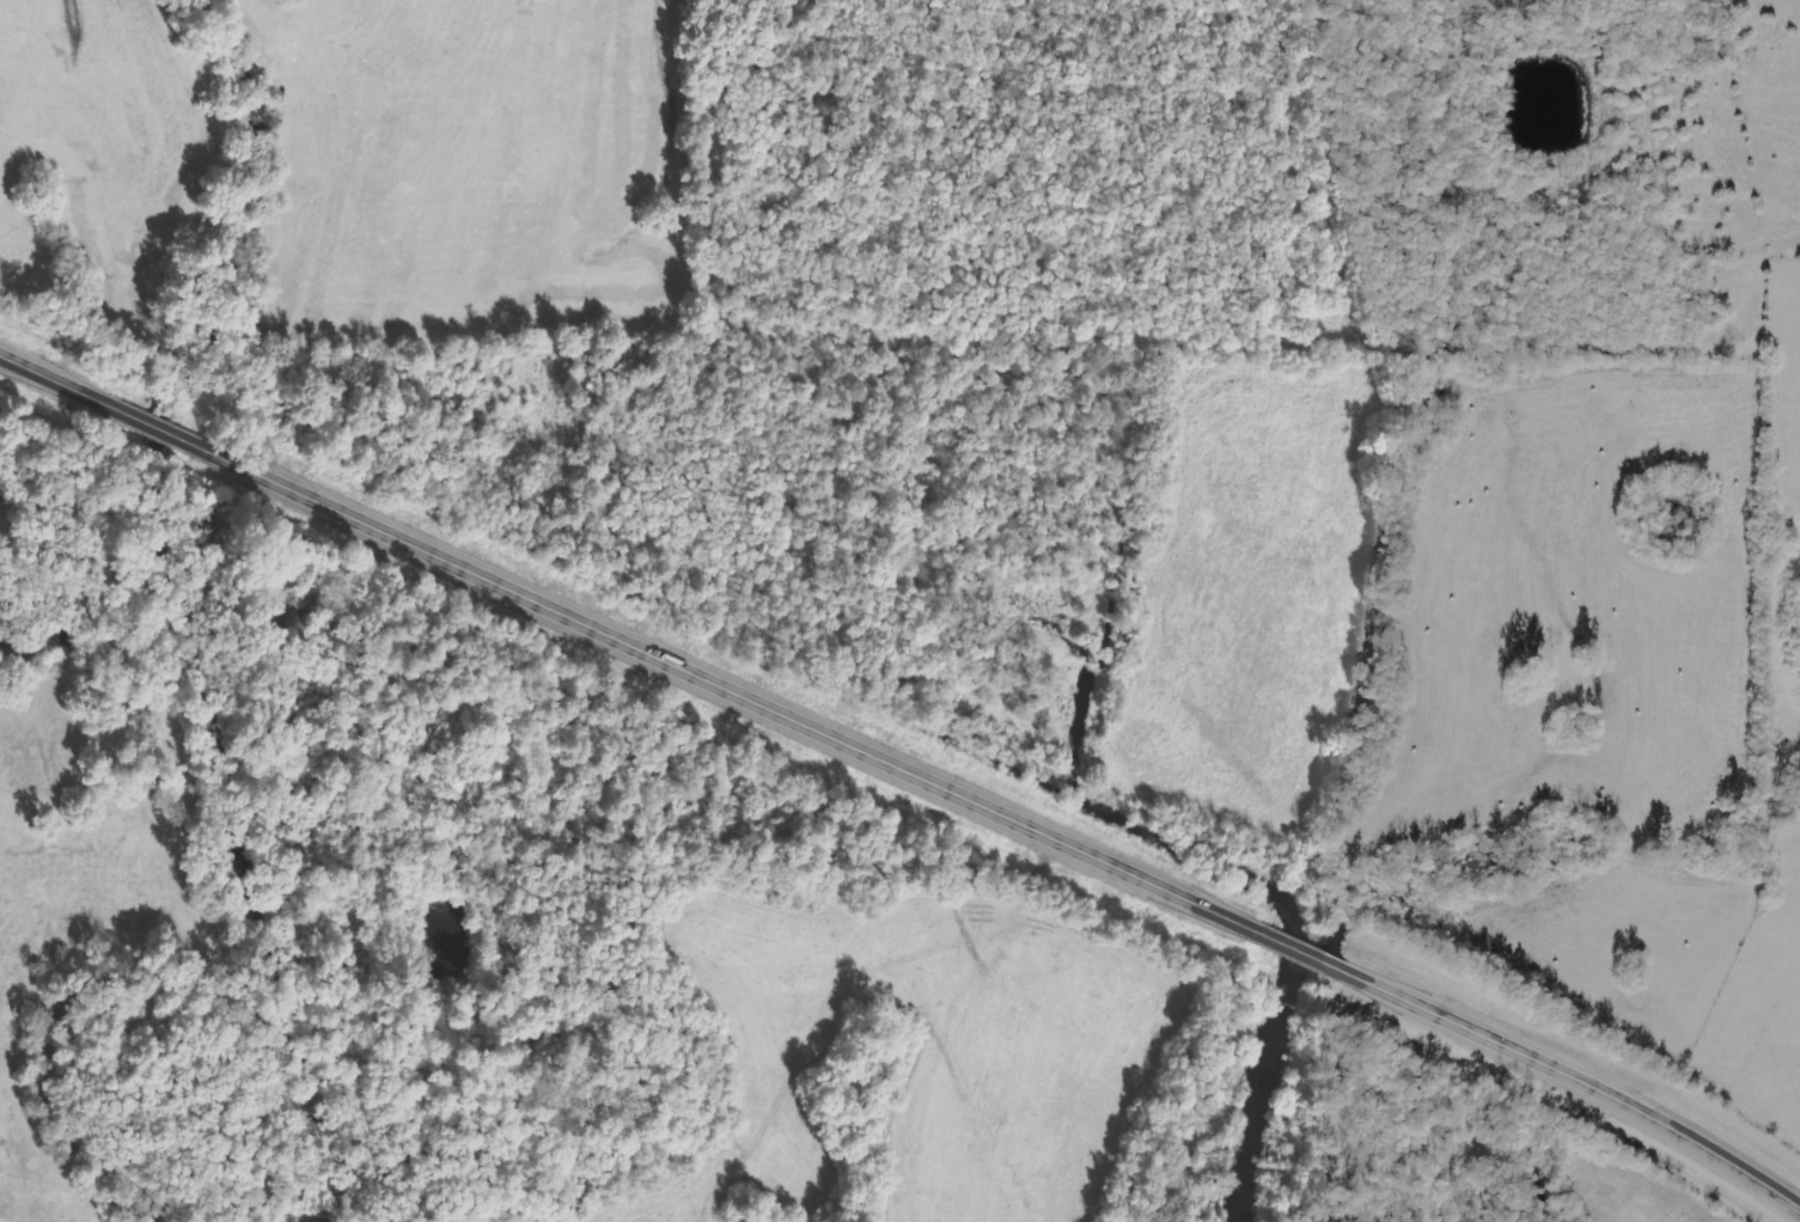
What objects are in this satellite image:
railway: (905, 741)
road: (907, 766)

